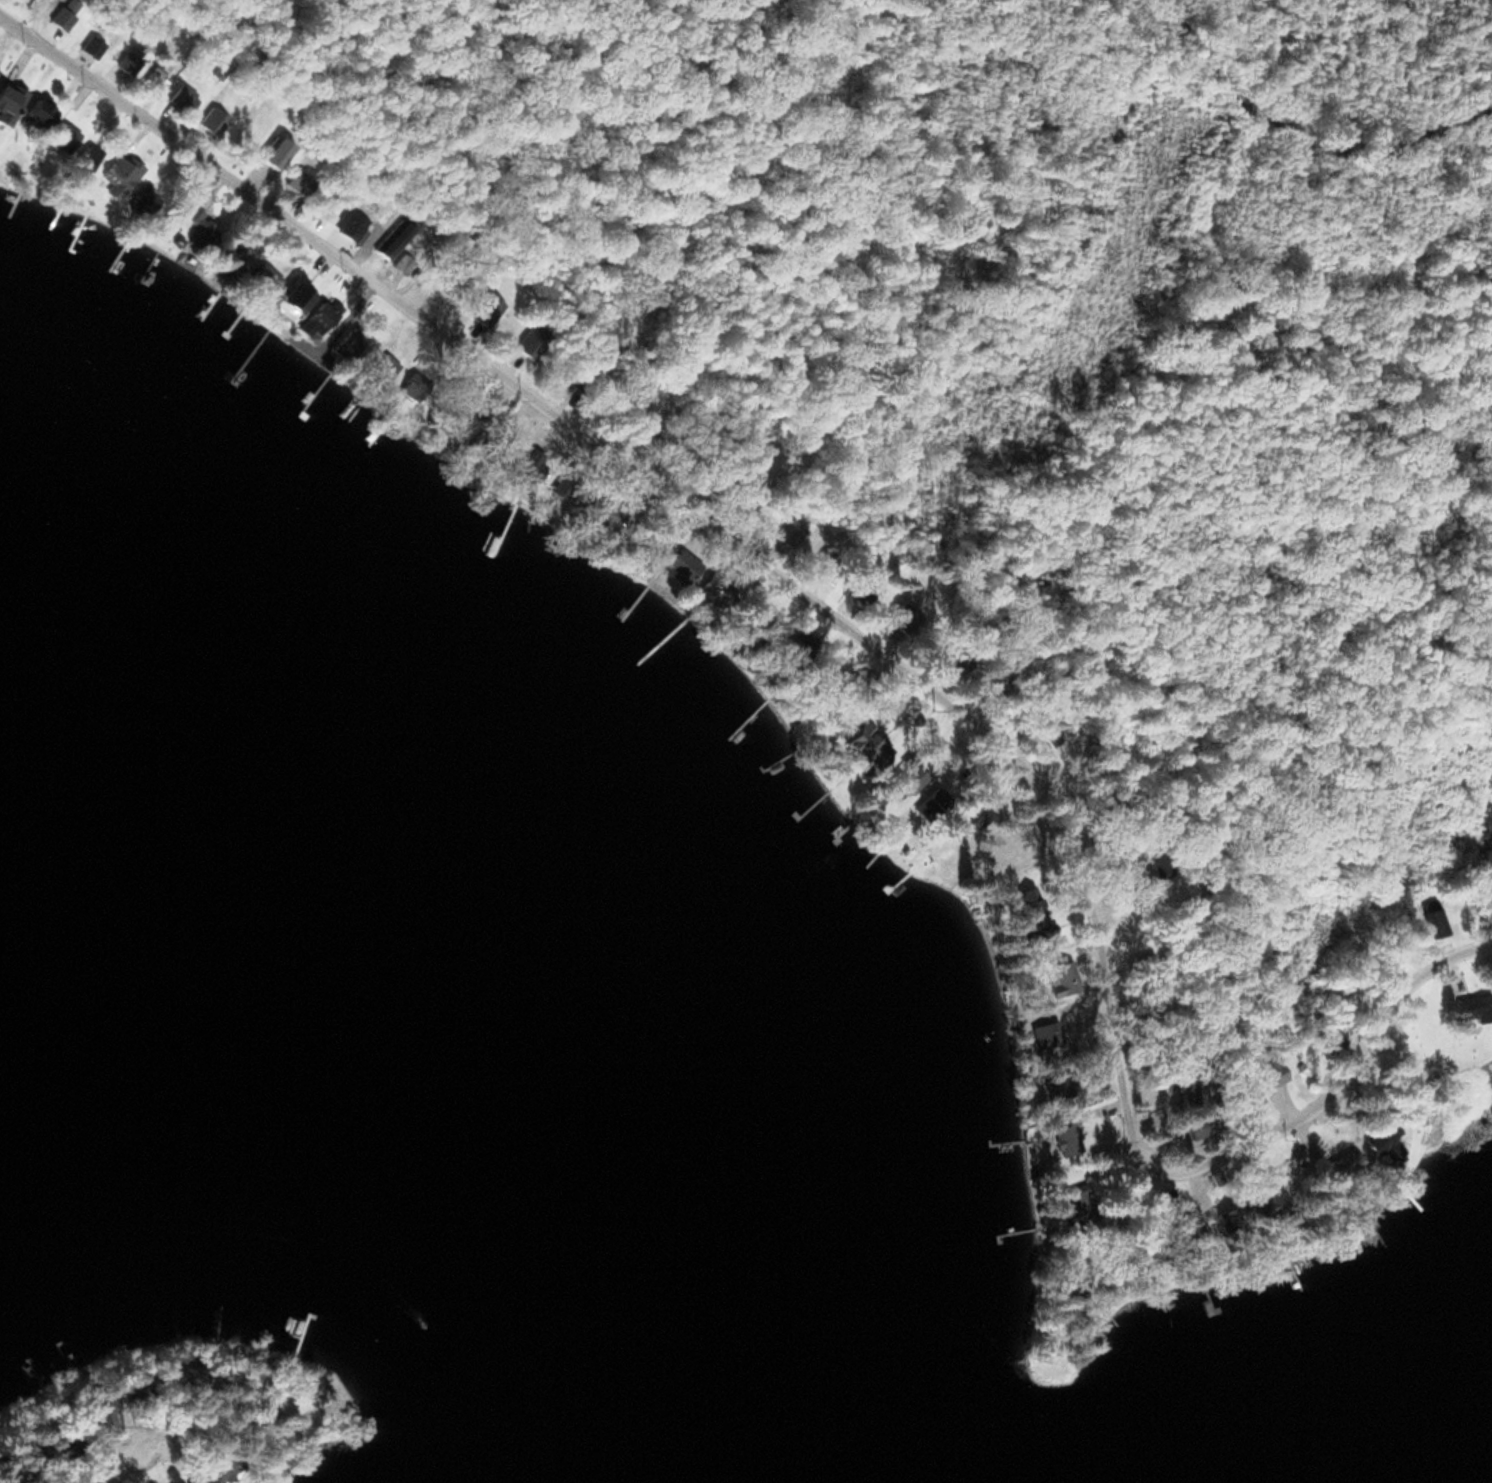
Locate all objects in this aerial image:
building: (58, 18)
building: (89, 45)
building: (126, 61)
building: (149, 76)
building: (179, 97)
building: (7, 100)
building: (37, 111)
building: (62, 135)
building: (84, 158)
building: (119, 174)
building: (297, 182)
building: (348, 223)
building: (199, 228)
building: (385, 247)
building: (232, 258)
building: (262, 277)
building: (292, 294)
building: (481, 309)
building: (316, 319)
building: (347, 346)
building: (510, 361)
building: (786, 533)
building: (710, 590)
building: (859, 590)
building: (902, 618)
road: (862, 629)
building: (860, 743)
building: (904, 777)
building: (930, 801)
building: (1027, 916)
building: (1433, 917)
building: (1059, 978)
building: (1474, 1007)
building: (1041, 1034)
building: (1329, 1040)
building: (1273, 1074)
building: (1052, 1087)
building: (1247, 1091)
building: (1062, 1138)
building: (1383, 1141)
building: (1339, 1164)
building: (1268, 1202)
building: (1176, 1209)
building: (1227, 1222)
building: (98, 1420)
road: (106, 1461)
building: (215, 1471)

